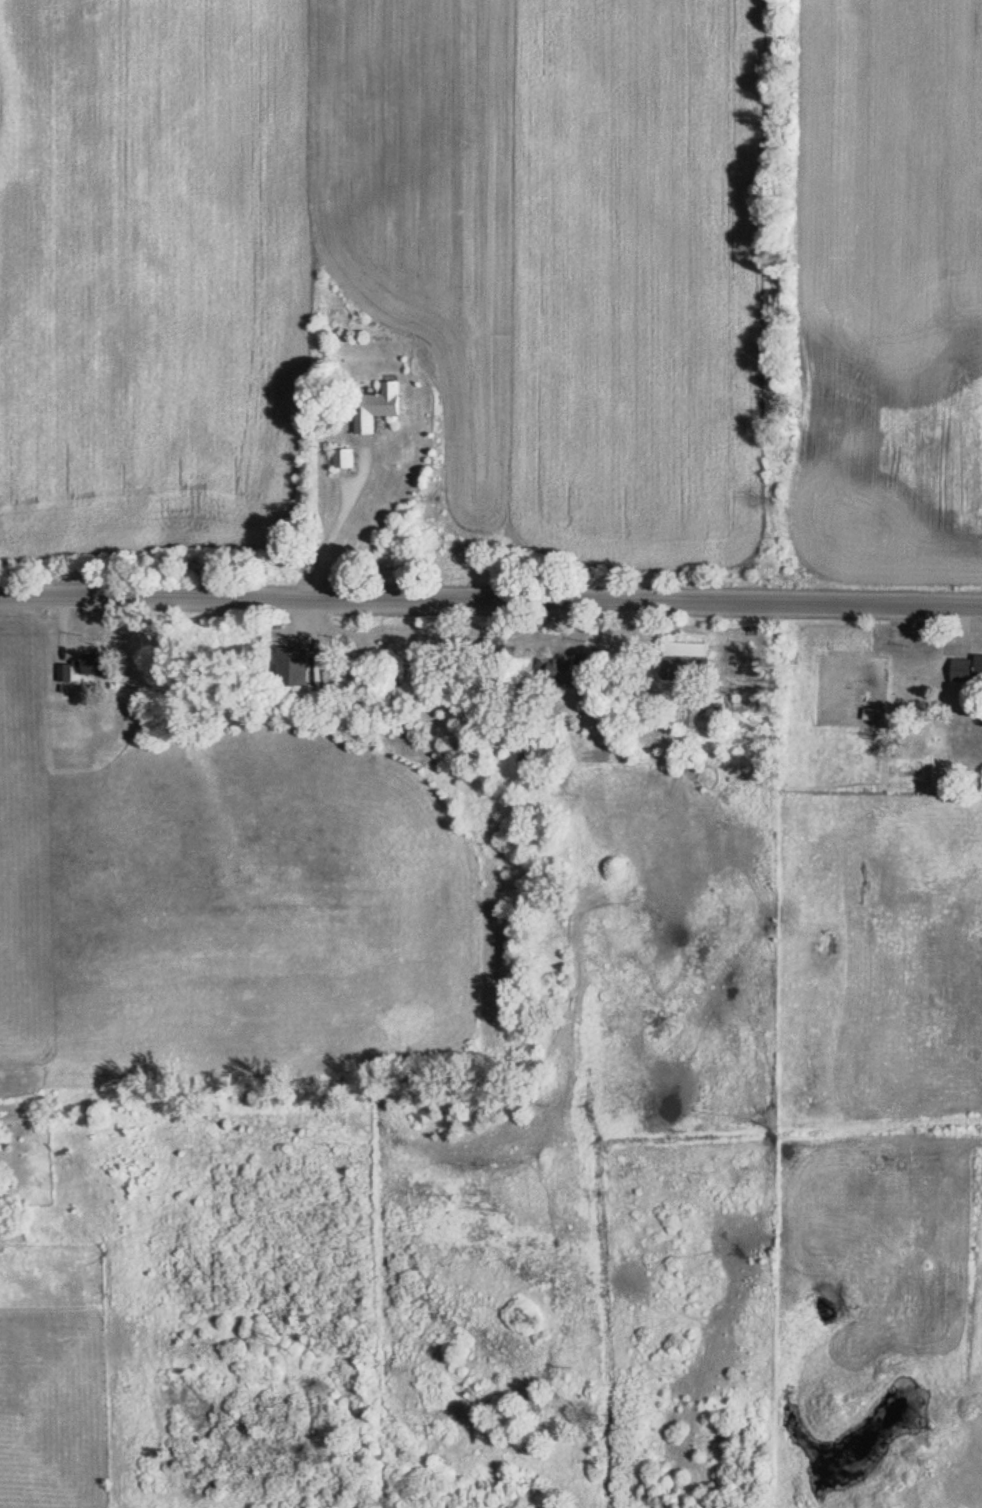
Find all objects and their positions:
building: (382, 409)
building: (349, 461)
road: (343, 517)
road: (491, 599)
building: (690, 663)
building: (98, 666)
building: (300, 668)
building: (565, 672)
building: (969, 672)
building: (694, 761)

